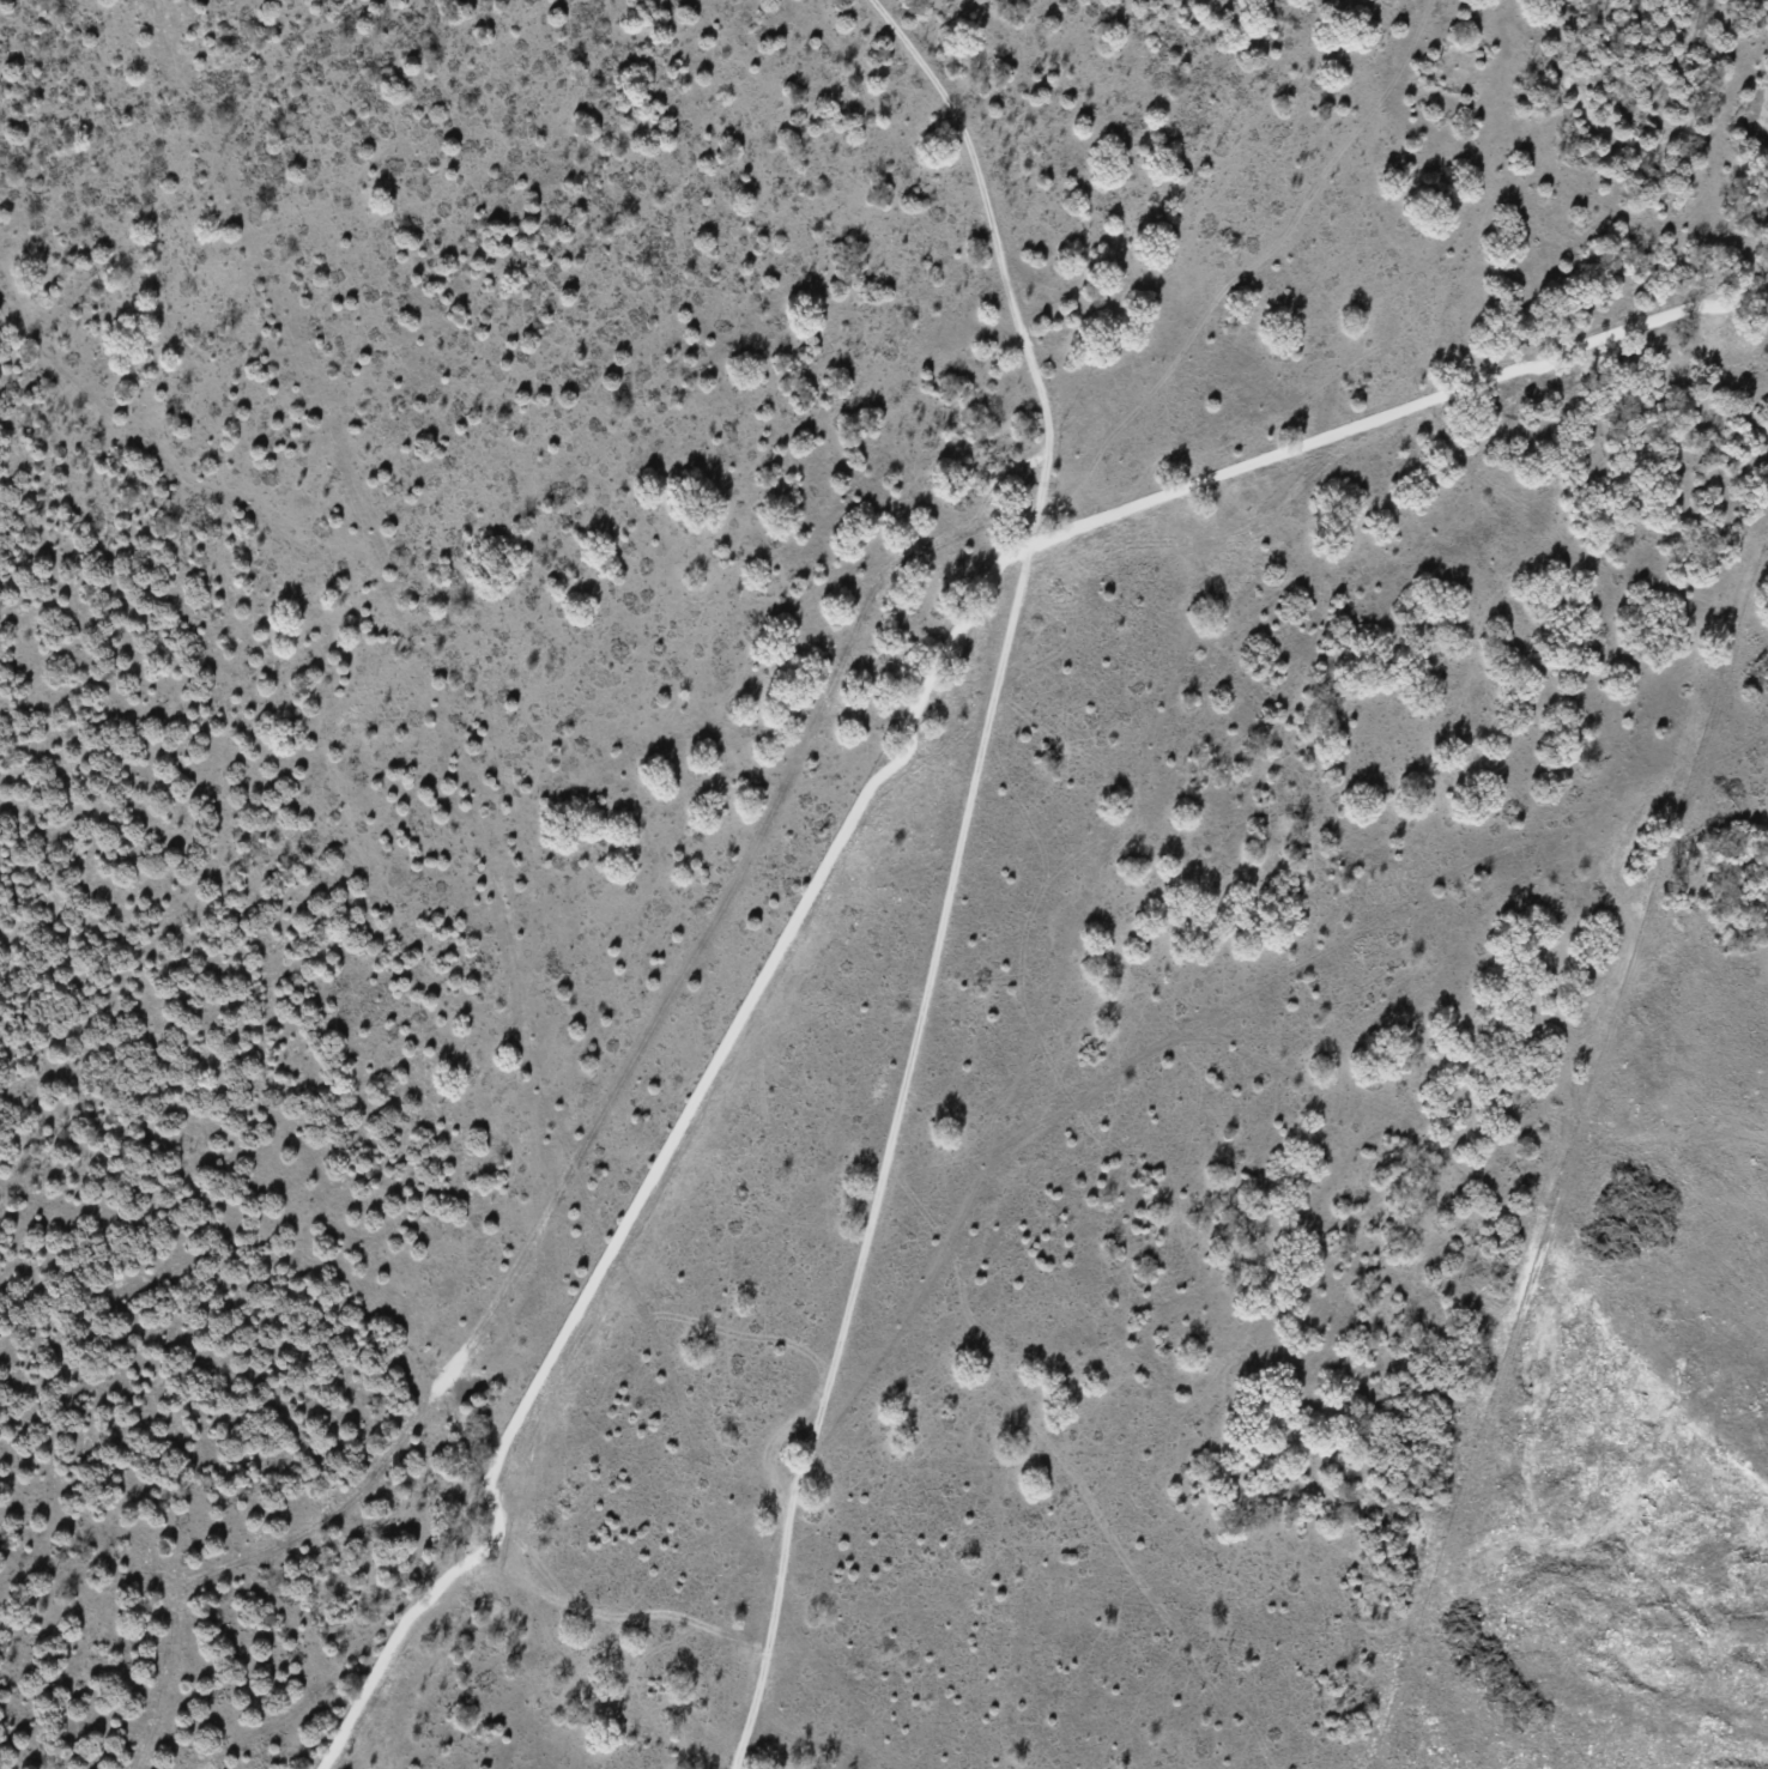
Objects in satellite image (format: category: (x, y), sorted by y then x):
road: (141, 0)
road: (947, 872)

